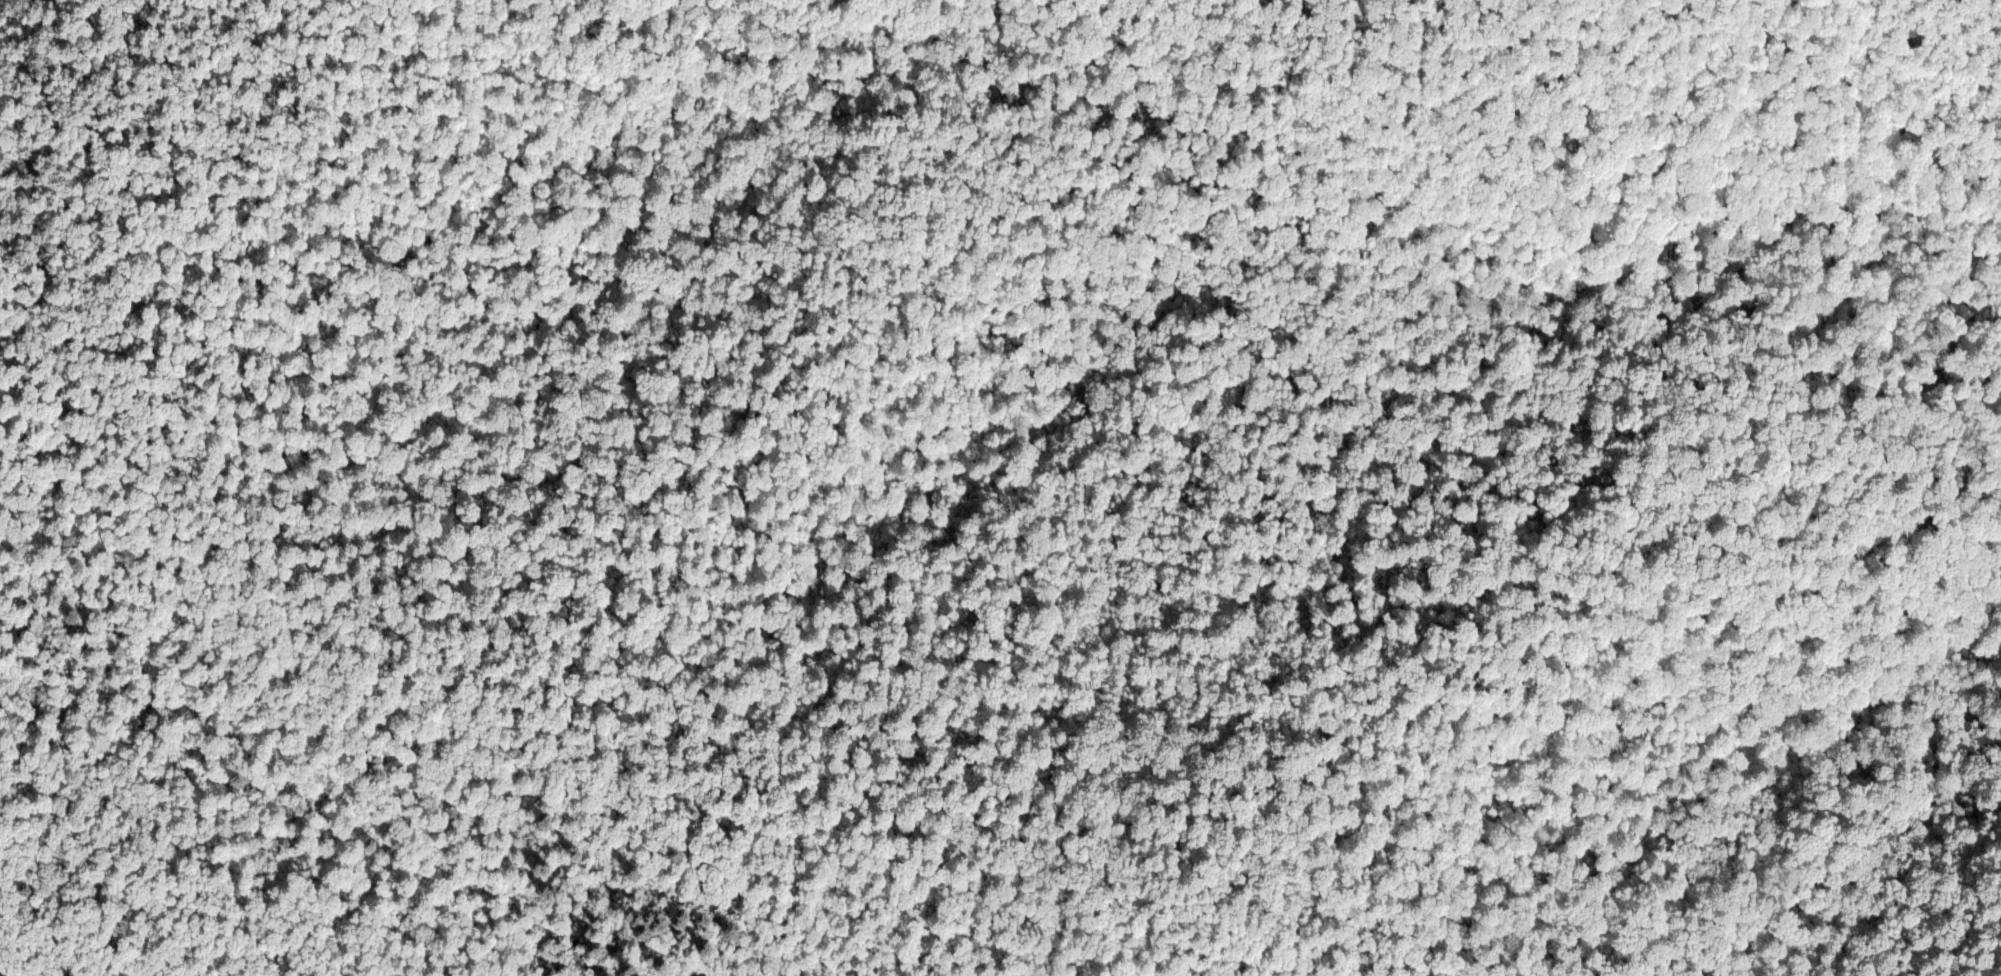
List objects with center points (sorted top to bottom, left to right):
road: (95, 951)

